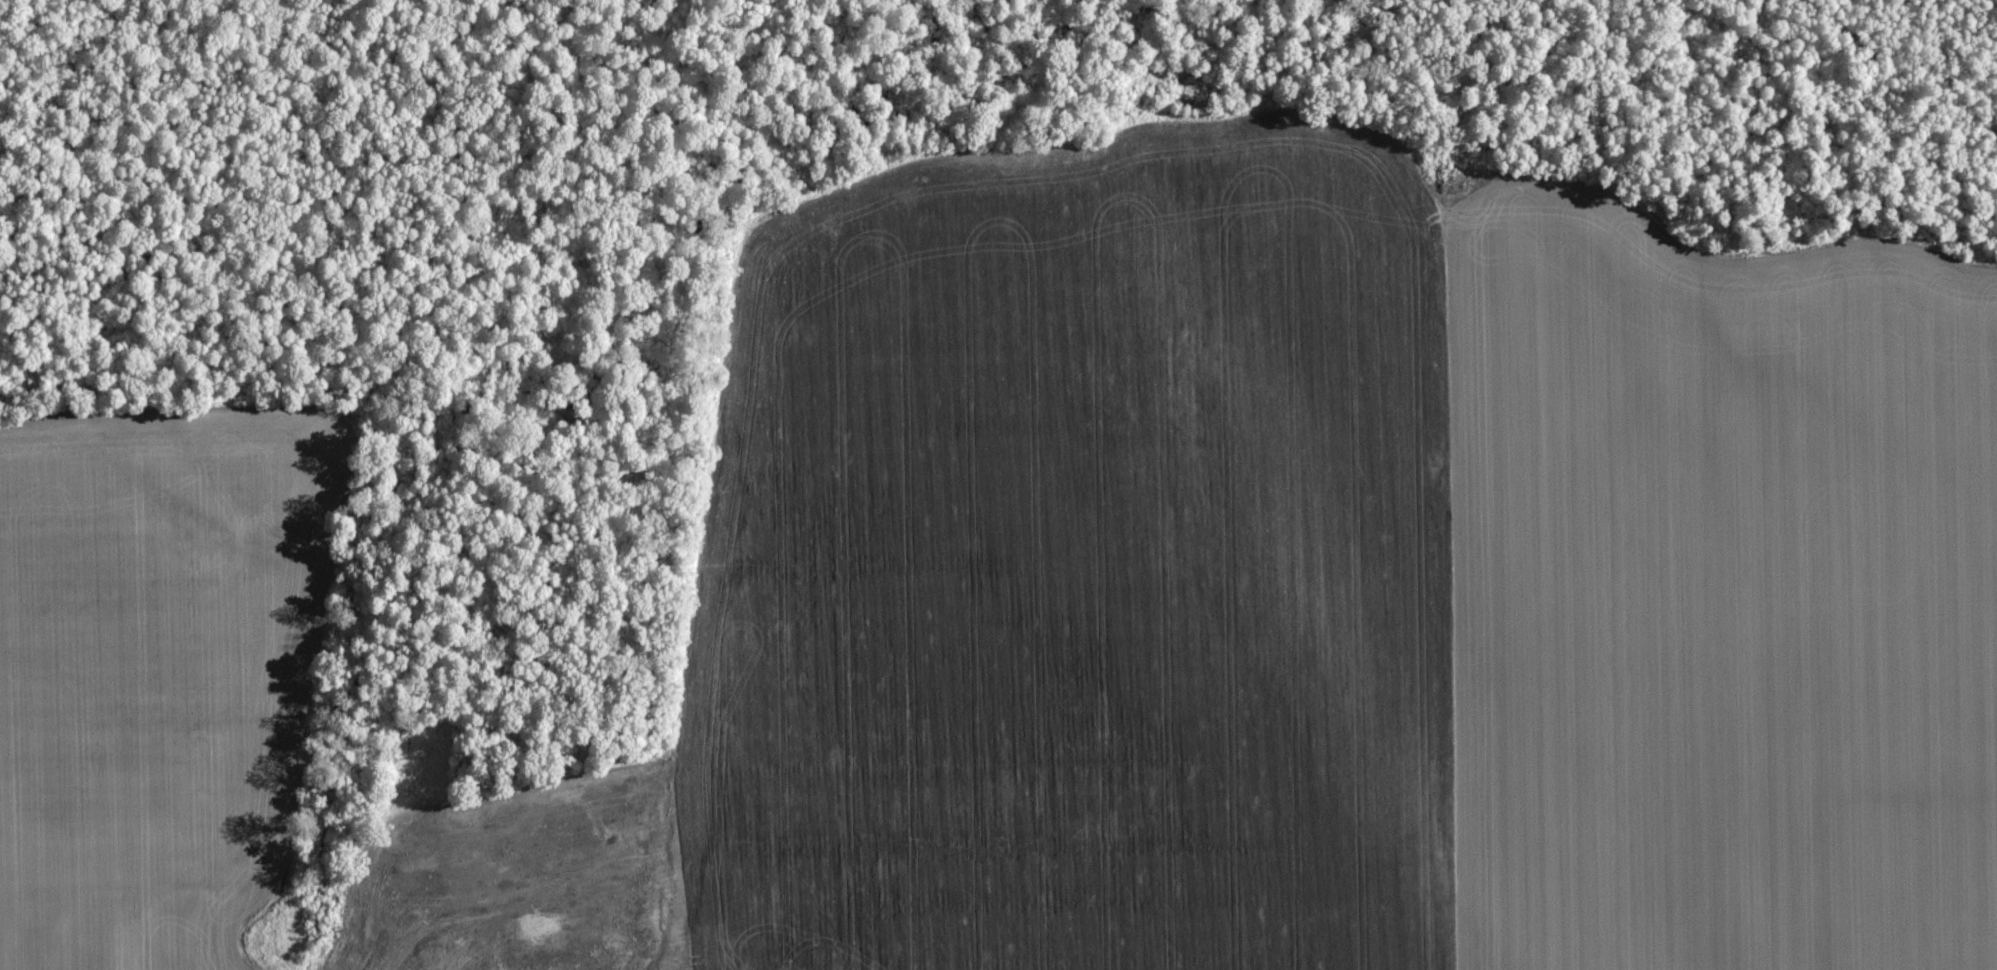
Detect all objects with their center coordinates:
road: (406, 959)

